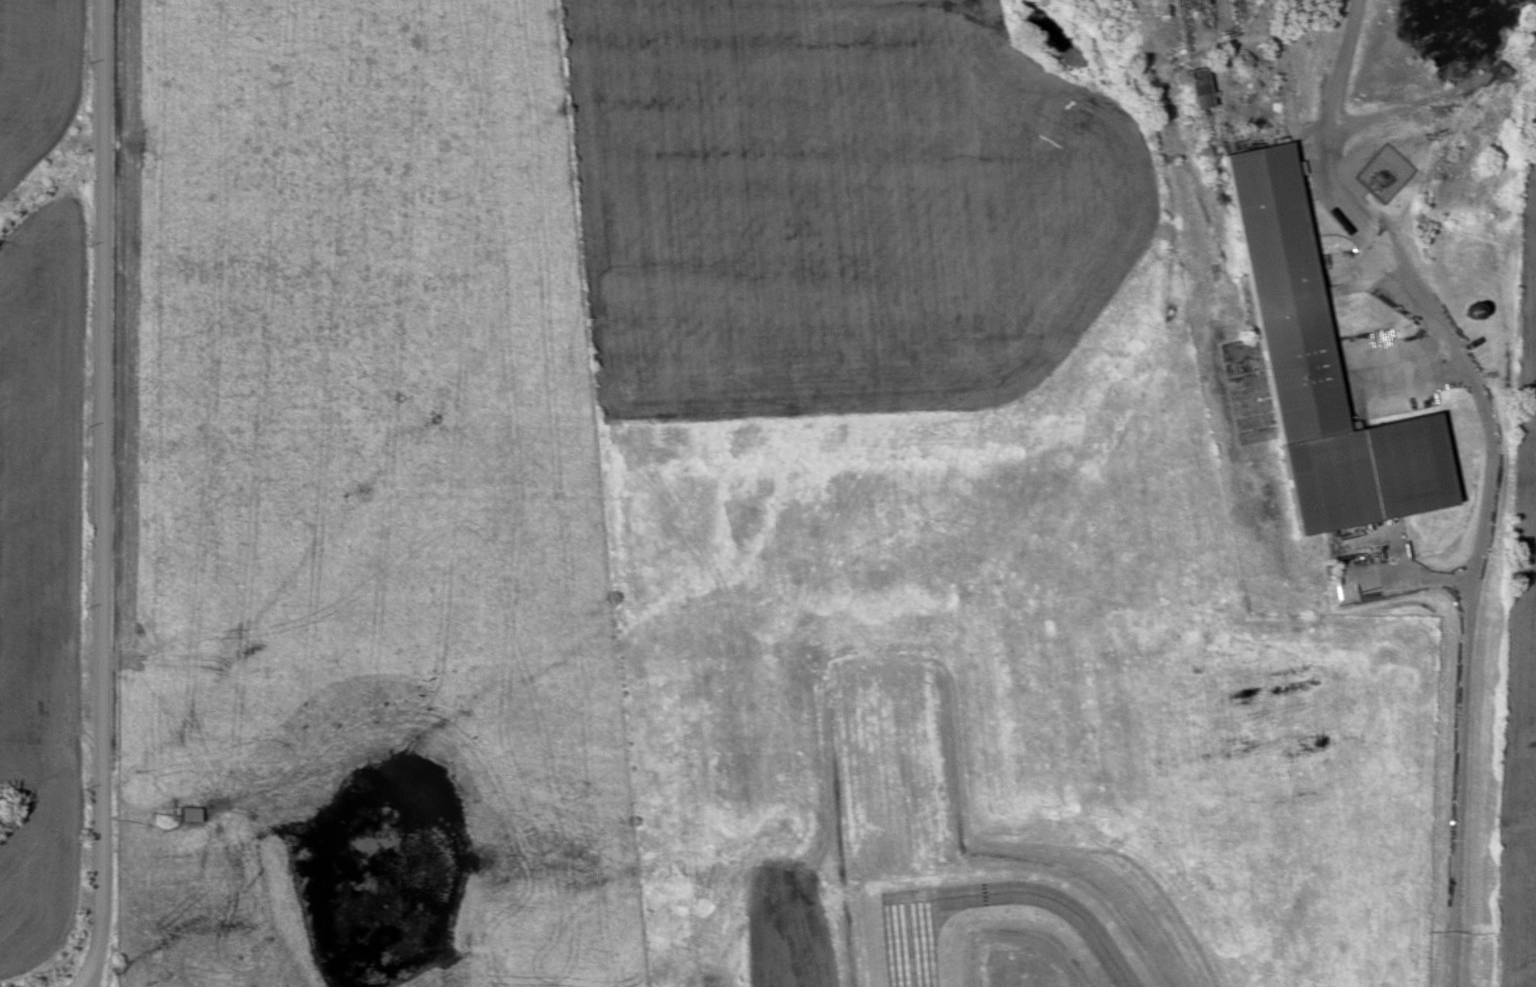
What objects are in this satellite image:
crop: (37, 80)
building: (1204, 89)
crop: (837, 207)
road: (1402, 292)
building: (1323, 367)
road: (105, 495)
airport: (950, 531)
crop: (39, 583)
crop: (1521, 631)
road: (1459, 784)
airport taxiway: (1040, 895)
crop: (792, 935)
airport runway: (914, 940)

